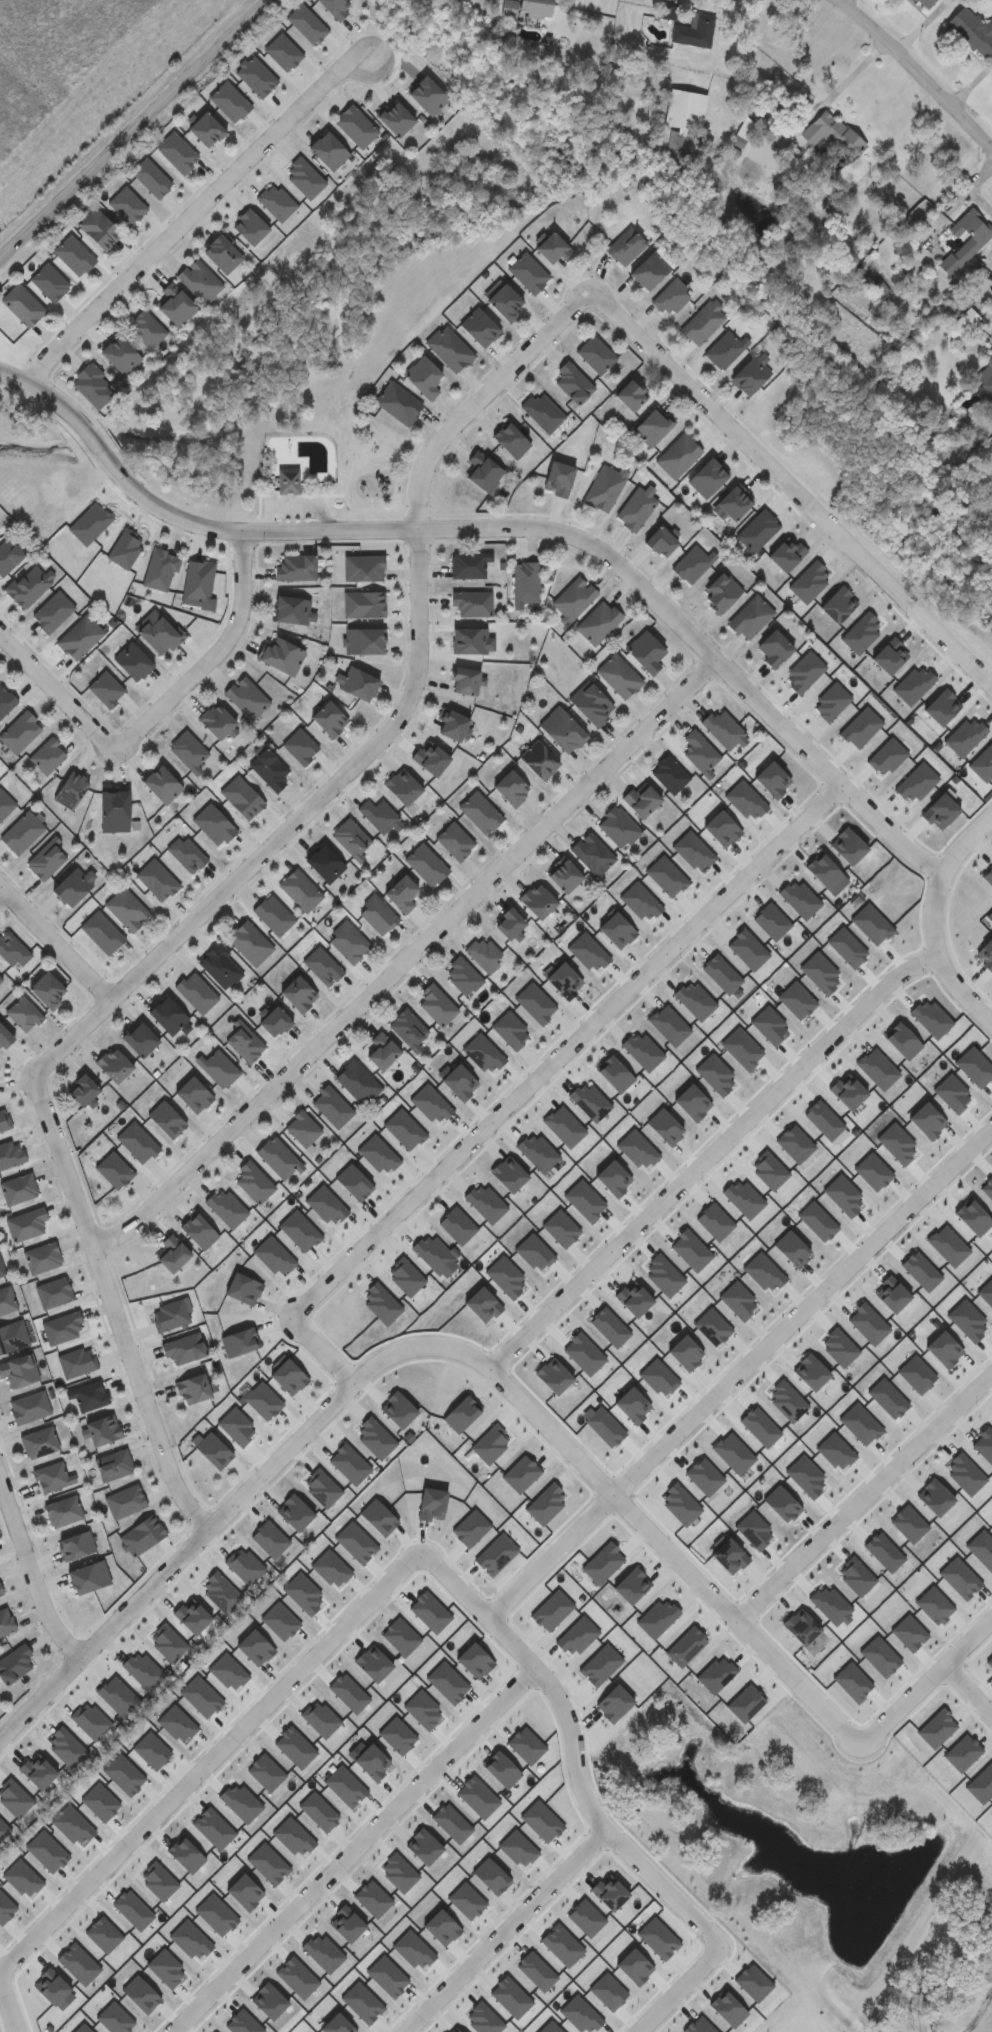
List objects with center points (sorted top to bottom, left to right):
building: (922, 3)
building: (524, 7)
building: (666, 10)
building: (670, 14)
building: (692, 29)
building: (970, 30)
road: (911, 75)
building: (427, 93)
building: (395, 116)
building: (680, 123)
building: (355, 124)
building: (206, 127)
road: (134, 129)
building: (830, 134)
building: (328, 149)
road: (196, 221)
building: (99, 228)
building: (964, 239)
building: (625, 244)
building: (552, 247)
building: (221, 252)
building: (649, 269)
building: (199, 279)
building: (50, 281)
building: (875, 289)
building: (671, 296)
building: (504, 301)
building: (23, 304)
building: (175, 304)
building: (703, 321)
road: (991, 322)
building: (960, 323)
building: (479, 327)
building: (146, 328)
building: (449, 347)
building: (724, 348)
building: (595, 353)
building: (120, 354)
building: (750, 372)
building: (986, 375)
building: (423, 376)
building: (572, 382)
building: (91, 385)
building: (630, 394)
building: (398, 402)
road: (482, 402)
building: (543, 410)
building: (651, 426)
building: (679, 454)
building: (483, 470)
building: (707, 476)
building: (288, 477)
building: (361, 484)
building: (605, 486)
road: (791, 488)
building: (733, 502)
building: (636, 506)
building: (89, 522)
road: (508, 529)
building: (757, 529)
building: (660, 540)
building: (123, 545)
building: (8, 555)
building: (693, 562)
building: (469, 563)
building: (158, 566)
building: (296, 566)
building: (198, 580)
building: (526, 582)
building: (29, 584)
building: (719, 591)
building: (573, 597)
building: (472, 602)
building: (293, 609)
building: (52, 611)
building: (750, 616)
building: (598, 622)
building: (159, 631)
building: (80, 637)
building: (471, 640)
building: (774, 647)
building: (646, 650)
building: (282, 655)
road: (218, 658)
building: (132, 661)
building: (619, 675)
building: (464, 680)
building: (358, 683)
building: (106, 687)
road: (58, 691)
building: (247, 696)
building: (6, 701)
building: (591, 702)
building: (329, 718)
building: (217, 720)
building: (453, 725)
building: (723, 727)
building: (562, 729)
building: (20, 730)
building: (301, 745)
building: (189, 748)
building: (699, 750)
building: (48, 754)
building: (539, 759)
building: (269, 768)
building: (669, 773)
building: (161, 783)
building: (511, 787)
building: (642, 799)
building: (114, 810)
building: (480, 811)
building: (380, 815)
building: (618, 826)
building: (22, 831)
road: (289, 831)
building: (351, 836)
building: (455, 840)
road: (964, 843)
building: (592, 853)
building: (45, 859)
building: (324, 863)
building: (426, 864)
building: (564, 875)
building: (73, 884)
building: (300, 889)
road: (1, 890)
building: (401, 892)
building: (537, 899)
building: (127, 908)
building: (377, 913)
building: (509, 922)
building: (250, 941)
building: (348, 941)
road: (57, 942)
building: (11, 948)
building: (483, 953)
road: (938, 955)
road: (408, 956)
building: (221, 966)
building: (462, 974)
building: (0, 978)
building: (46, 989)
building: (299, 993)
building: (436, 1004)
building: (24, 1013)
building: (168, 1016)
building: (274, 1020)
building: (408, 1027)
building: (4, 1036)
building: (139, 1038)
building: (244, 1041)
building: (382, 1050)
building: (114, 1063)
building: (218, 1067)
building: (358, 1081)
road: (533, 1081)
building: (82, 1089)
building: (4, 1119)
building: (302, 1128)
building: (10, 1153)
road: (712, 1153)
building: (278, 1157)
building: (253, 1181)
building: (19, 1188)
building: (26, 1223)
building: (172, 1253)
building: (43, 1256)
building: (1, 1269)
building: (6, 1300)
road: (117, 1306)
road: (804, 1309)
building: (183, 1347)
building: (19, 1369)
building: (193, 1387)
road: (519, 1390)
building: (89, 1395)
building: (102, 1428)
building: (39, 1441)
building: (114, 1463)
building: (52, 1476)
road: (864, 1495)
building: (63, 1510)
road: (197, 1544)
road: (549, 1552)
road: (32, 1575)
road: (700, 1582)
building: (6, 1621)
road: (327, 1642)
building: (14, 1663)
road: (968, 1685)
road: (889, 1712)
road: (353, 1848)
road: (706, 1925)
road: (498, 1927)
road: (9, 2005)

